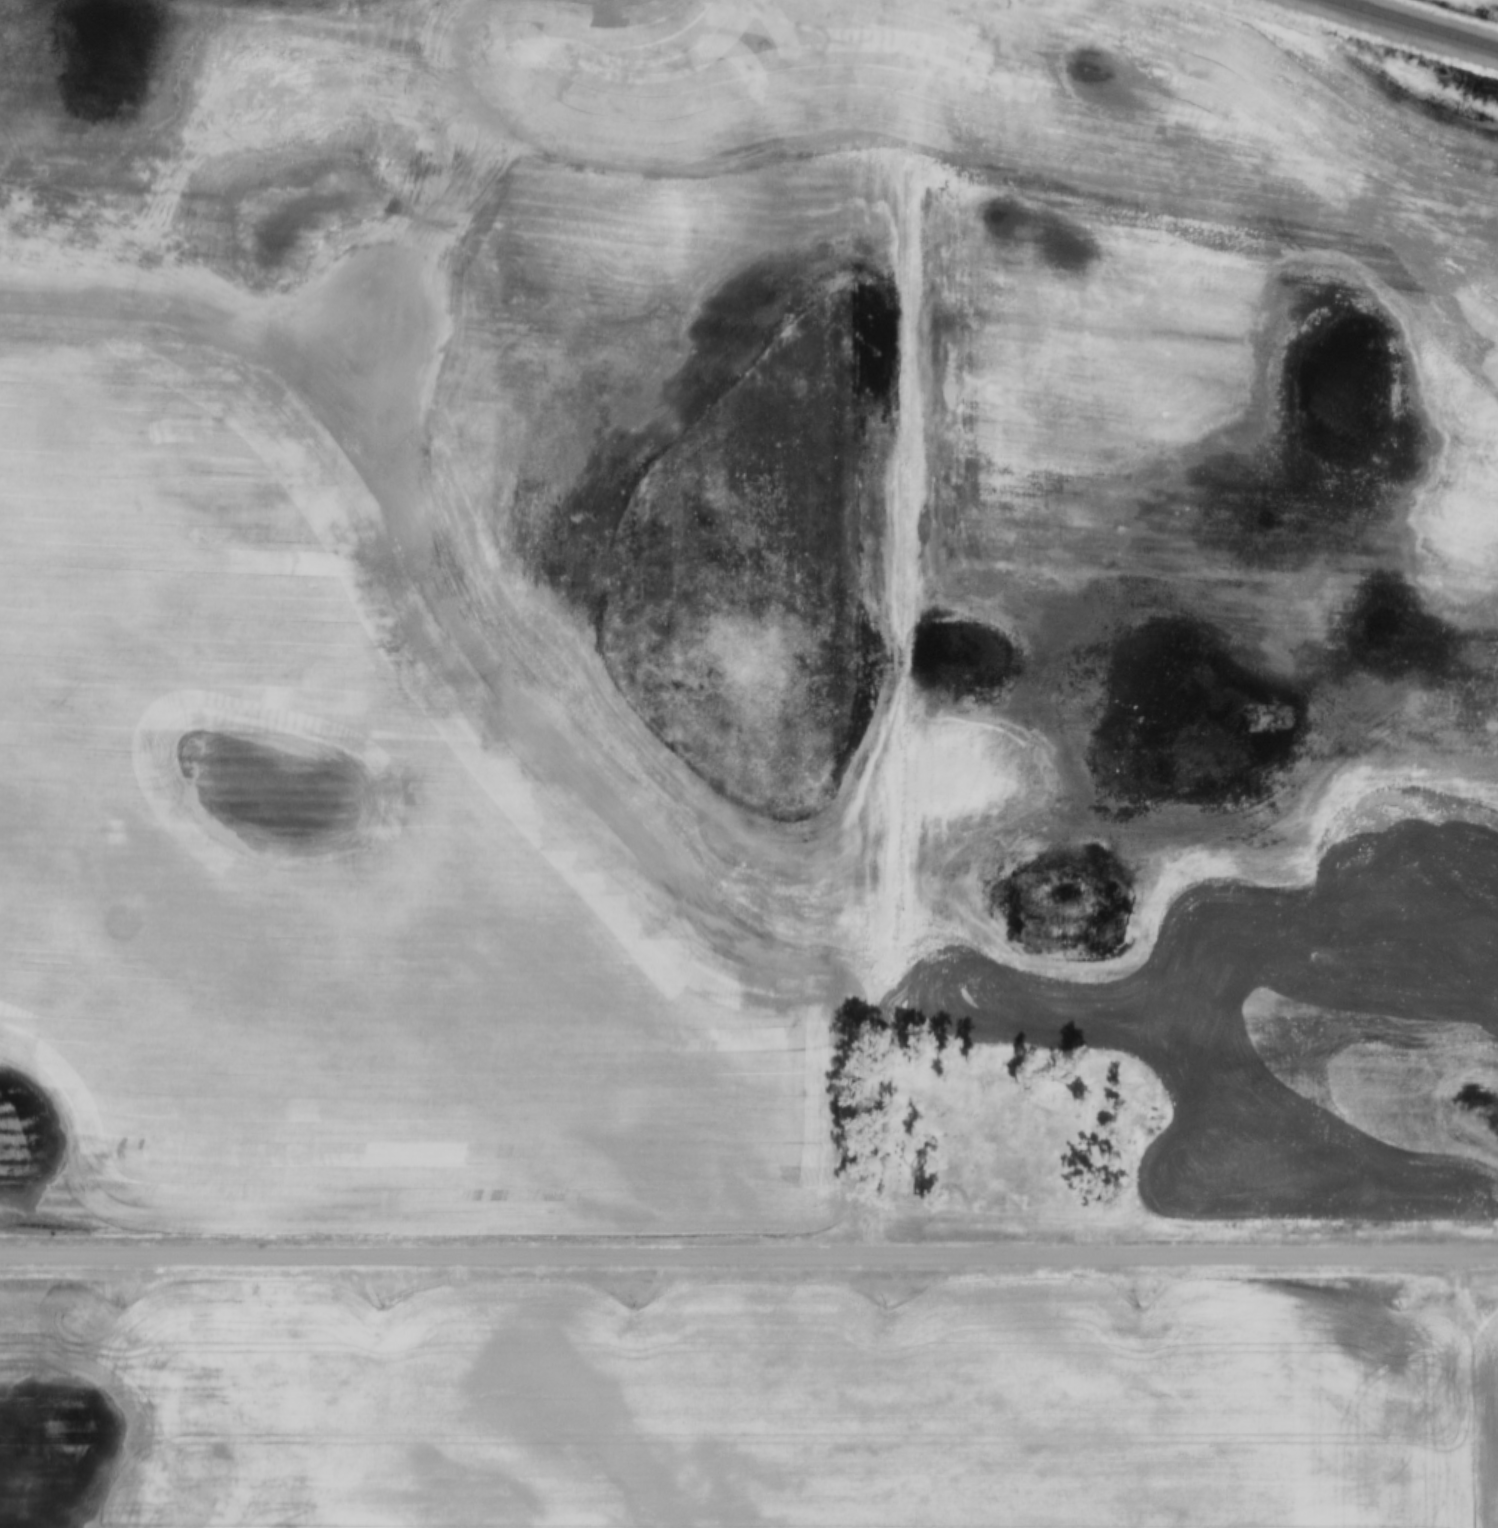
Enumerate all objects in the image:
railway: (1411, 25)
road: (883, 1174)
road: (748, 1255)

